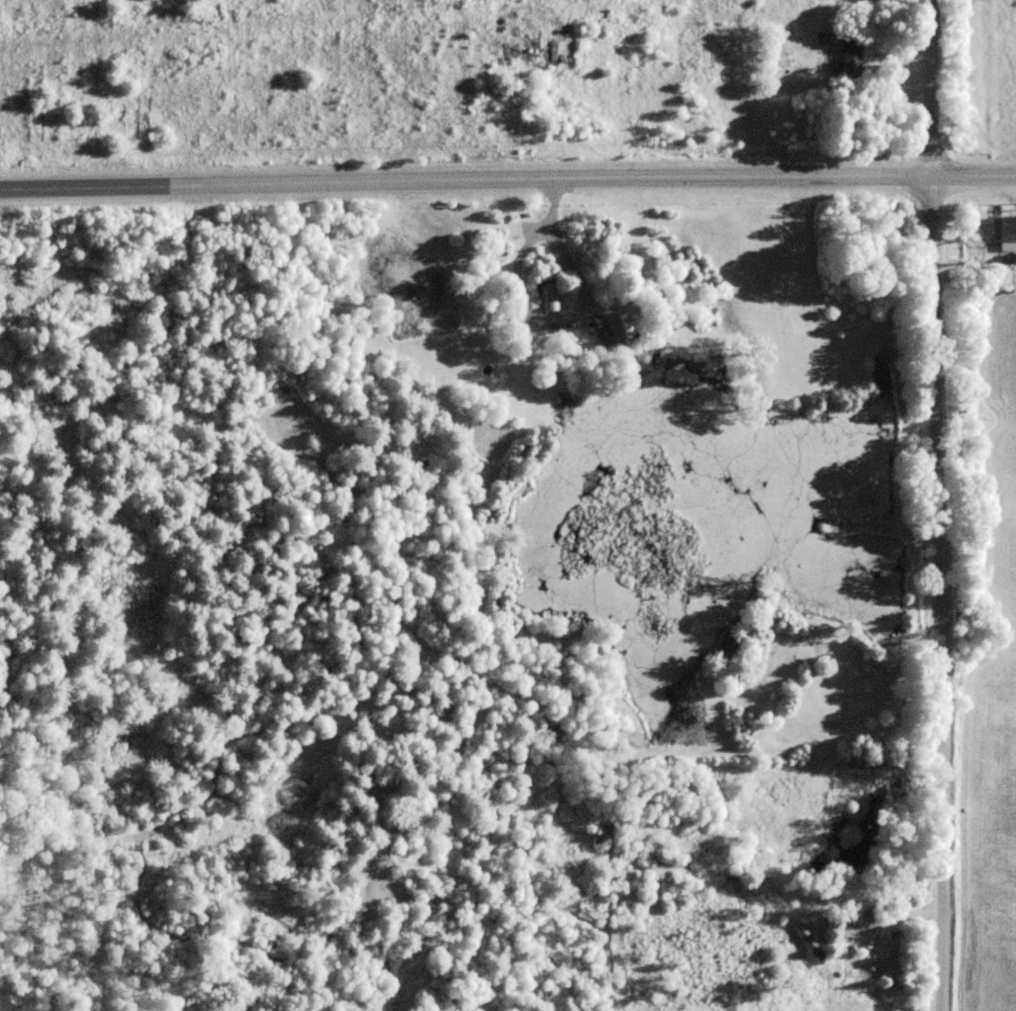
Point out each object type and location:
building: (849, 51)
road: (507, 182)
building: (1004, 227)
building: (547, 297)
building: (618, 328)
road: (940, 505)
building: (809, 943)

